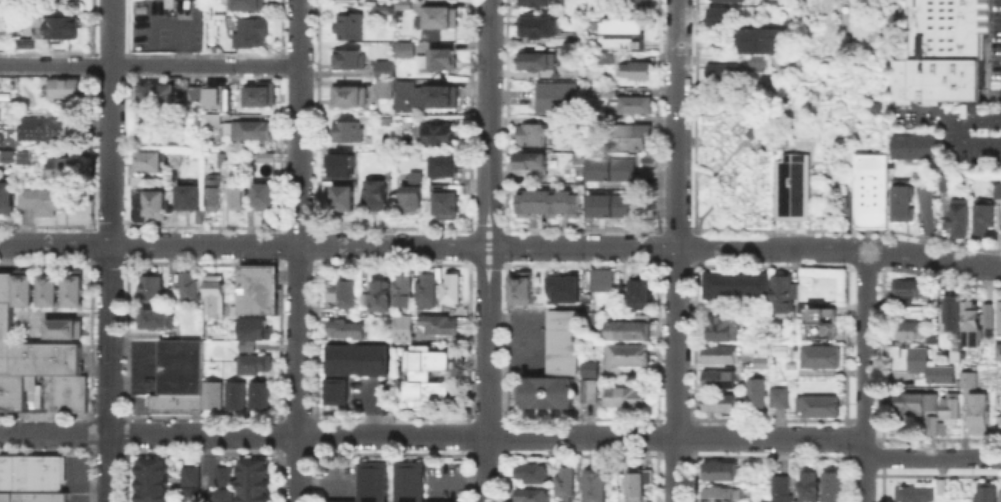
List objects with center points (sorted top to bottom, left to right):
building: (718, 0)
building: (534, 2)
building: (402, 4)
building: (173, 5)
building: (233, 5)
building: (254, 5)
building: (637, 5)
building: (0, 6)
building: (380, 8)
building: (718, 15)
building: (440, 17)
building: (346, 24)
building: (621, 24)
building: (537, 25)
building: (218, 27)
building: (63, 29)
building: (254, 32)
building: (635, 34)
building: (759, 38)
parking lot: (995, 39)
building: (603, 43)
building: (402, 48)
building: (941, 51)
building: (347, 58)
building: (441, 58)
building: (535, 58)
building: (605, 59)
building: (755, 62)
road: (150, 65)
building: (383, 68)
building: (635, 69)
building: (723, 72)
building: (384, 87)
building: (66, 88)
building: (608, 91)
building: (258, 93)
building: (422, 94)
building: (350, 95)
building: (554, 95)
building: (198, 96)
building: (218, 96)
building: (155, 98)
building: (633, 103)
building: (215, 119)
building: (386, 119)
road: (488, 123)
building: (595, 123)
building: (43, 130)
building: (347, 130)
road: (962, 130)
building: (750, 131)
building: (254, 132)
building: (529, 133)
parking lot: (973, 133)
building: (438, 134)
building: (626, 134)
building: (912, 145)
building: (28, 155)
building: (177, 157)
building: (267, 158)
building: (153, 159)
building: (530, 159)
building: (226, 161)
building: (342, 163)
building: (443, 164)
building: (610, 167)
building: (65, 171)
building: (943, 179)
building: (870, 188)
building: (791, 189)
building: (996, 189)
building: (374, 192)
building: (411, 192)
building: (217, 193)
building: (943, 193)
building: (341, 196)
building: (8, 197)
building: (192, 197)
building: (47, 199)
building: (243, 199)
building: (267, 199)
building: (901, 199)
building: (149, 200)
building: (547, 202)
building: (445, 203)
building: (610, 203)
building: (981, 216)
building: (957, 217)
road: (923, 222)
road: (243, 245)
road: (745, 248)
road: (108, 250)
road: (676, 250)
road: (300, 251)
building: (601, 279)
building: (735, 284)
building: (187, 285)
building: (6, 286)
building: (449, 286)
building: (151, 287)
building: (520, 287)
building: (563, 287)
building: (23, 288)
building: (400, 288)
building: (48, 289)
building: (72, 289)
building: (257, 289)
building: (909, 289)
building: (425, 290)
building: (343, 292)
building: (639, 293)
building: (781, 293)
building: (213, 294)
building: (380, 294)
building: (363, 298)
building: (950, 312)
building: (988, 314)
building: (998, 315)
building: (155, 317)
building: (821, 322)
building: (437, 323)
building: (972, 323)
building: (401, 326)
building: (63, 327)
building: (254, 327)
building: (722, 327)
building: (344, 328)
building: (627, 328)
building: (907, 329)
building: (246, 344)
building: (998, 350)
building: (720, 353)
building: (627, 354)
building: (819, 355)
building: (356, 358)
building: (760, 358)
building: (29, 361)
building: (253, 363)
building: (180, 364)
building: (554, 364)
building: (927, 364)
building: (589, 368)
road: (487, 374)
road: (865, 375)
building: (425, 376)
building: (718, 378)
building: (971, 381)
building: (588, 389)
building: (61, 390)
building: (335, 390)
building: (258, 393)
building: (755, 393)
building: (212, 394)
building: (235, 394)
building: (623, 395)
building: (778, 396)
building: (914, 400)
building: (718, 401)
building: (175, 402)
building: (816, 404)
building: (949, 405)
building: (980, 416)
building: (930, 423)
building: (1000, 425)
road: (503, 435)
road: (212, 468)
building: (718, 469)
building: (529, 471)
building: (30, 472)
building: (189, 474)
building: (223, 474)
building: (150, 479)
building: (252, 480)
building: (563, 481)
building: (374, 482)
building: (414, 482)
building: (636, 484)
building: (592, 485)
building: (808, 485)
building: (830, 486)
building: (781, 488)
building: (987, 492)
building: (189, 493)
building: (720, 493)
building: (999, 493)
building: (223, 494)
building: (529, 494)
building: (915, 494)
building: (6, 495)
building: (39, 496)
building: (564, 501)

